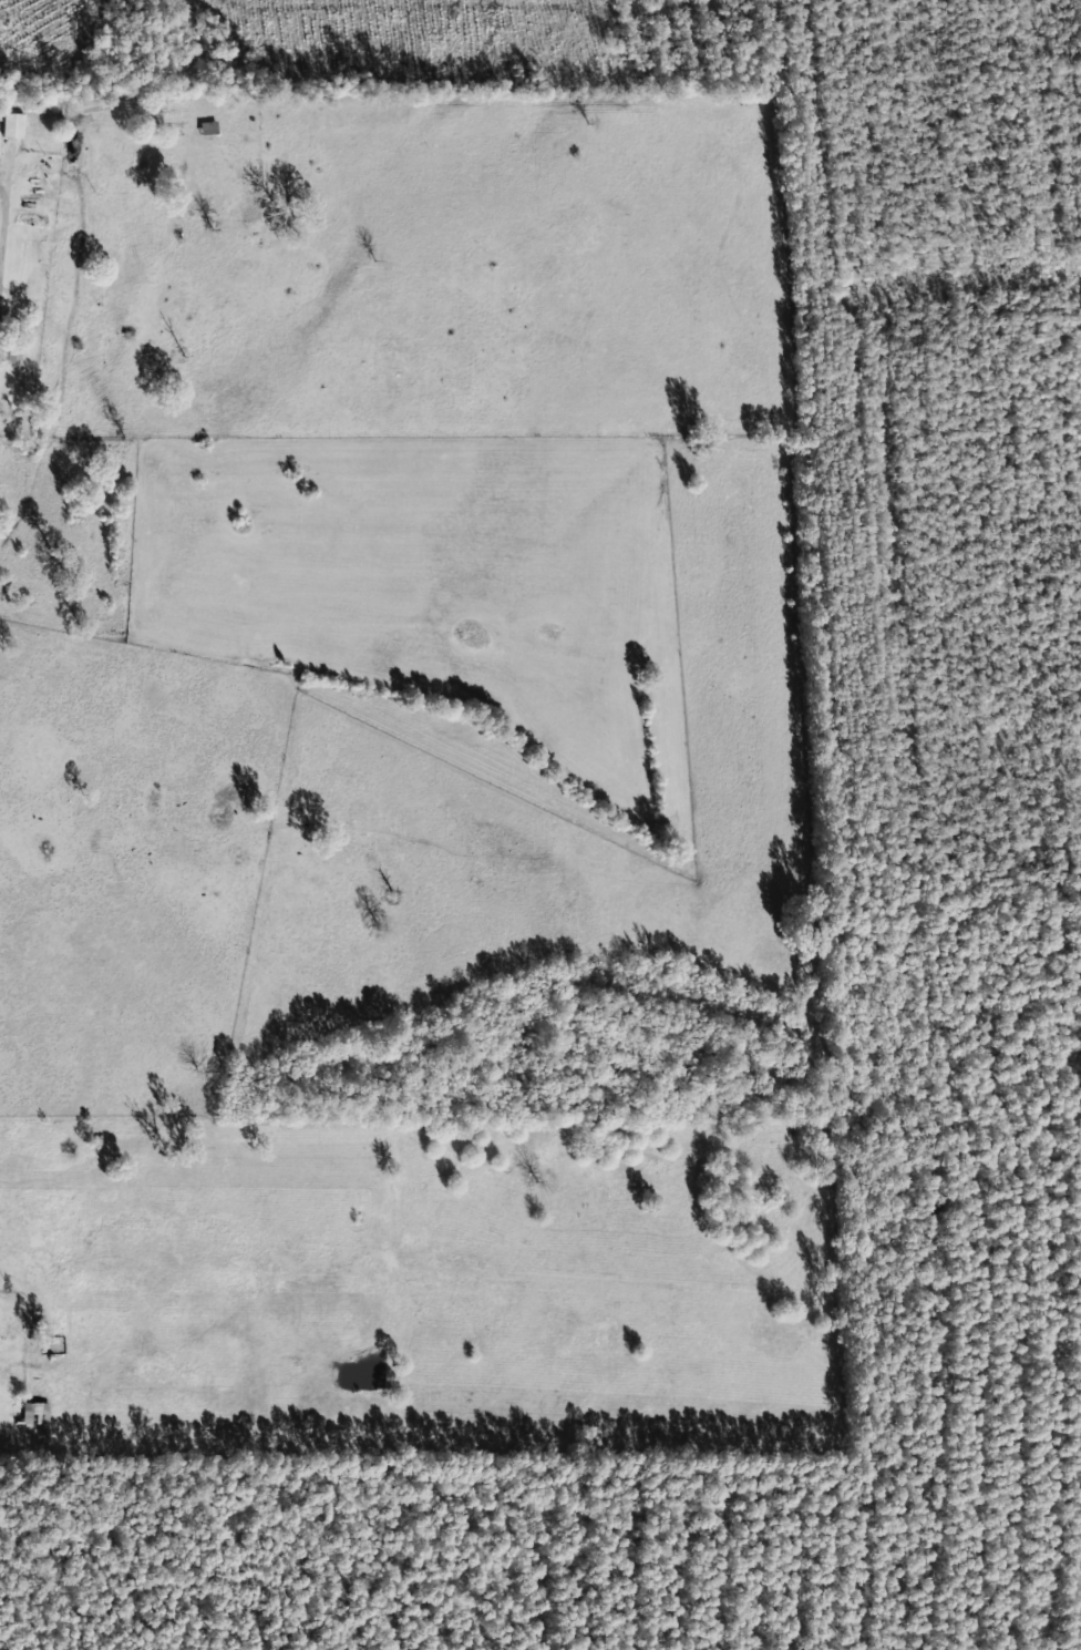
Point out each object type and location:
building: (11, 127)
building: (6, 355)

